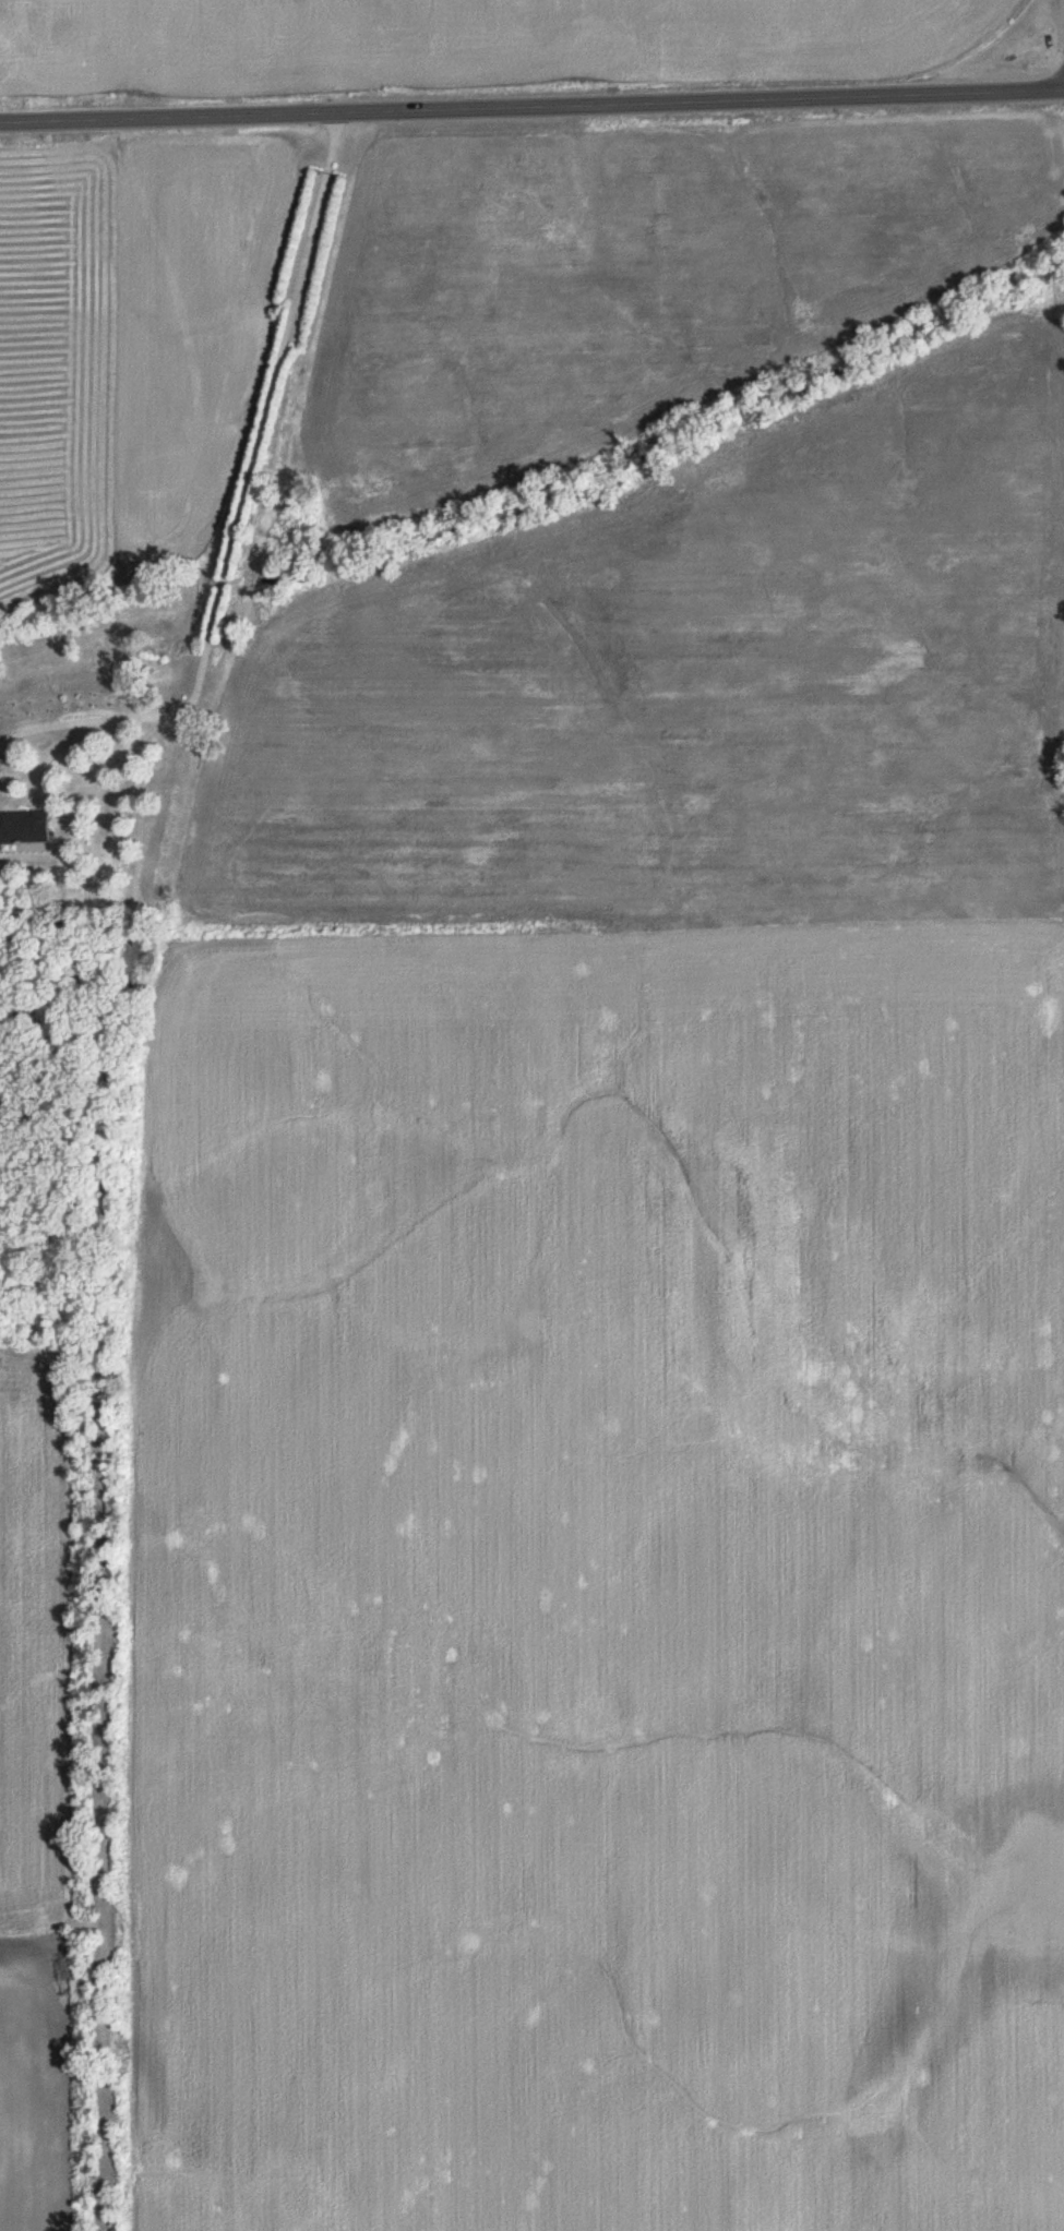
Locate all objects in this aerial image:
crop: (462, 40)
road: (531, 109)
crop: (635, 276)
crop: (127, 345)
road: (237, 503)
crop: (696, 693)
building: (24, 817)
crop: (607, 1592)
crop: (31, 1653)
crop: (33, 2095)

